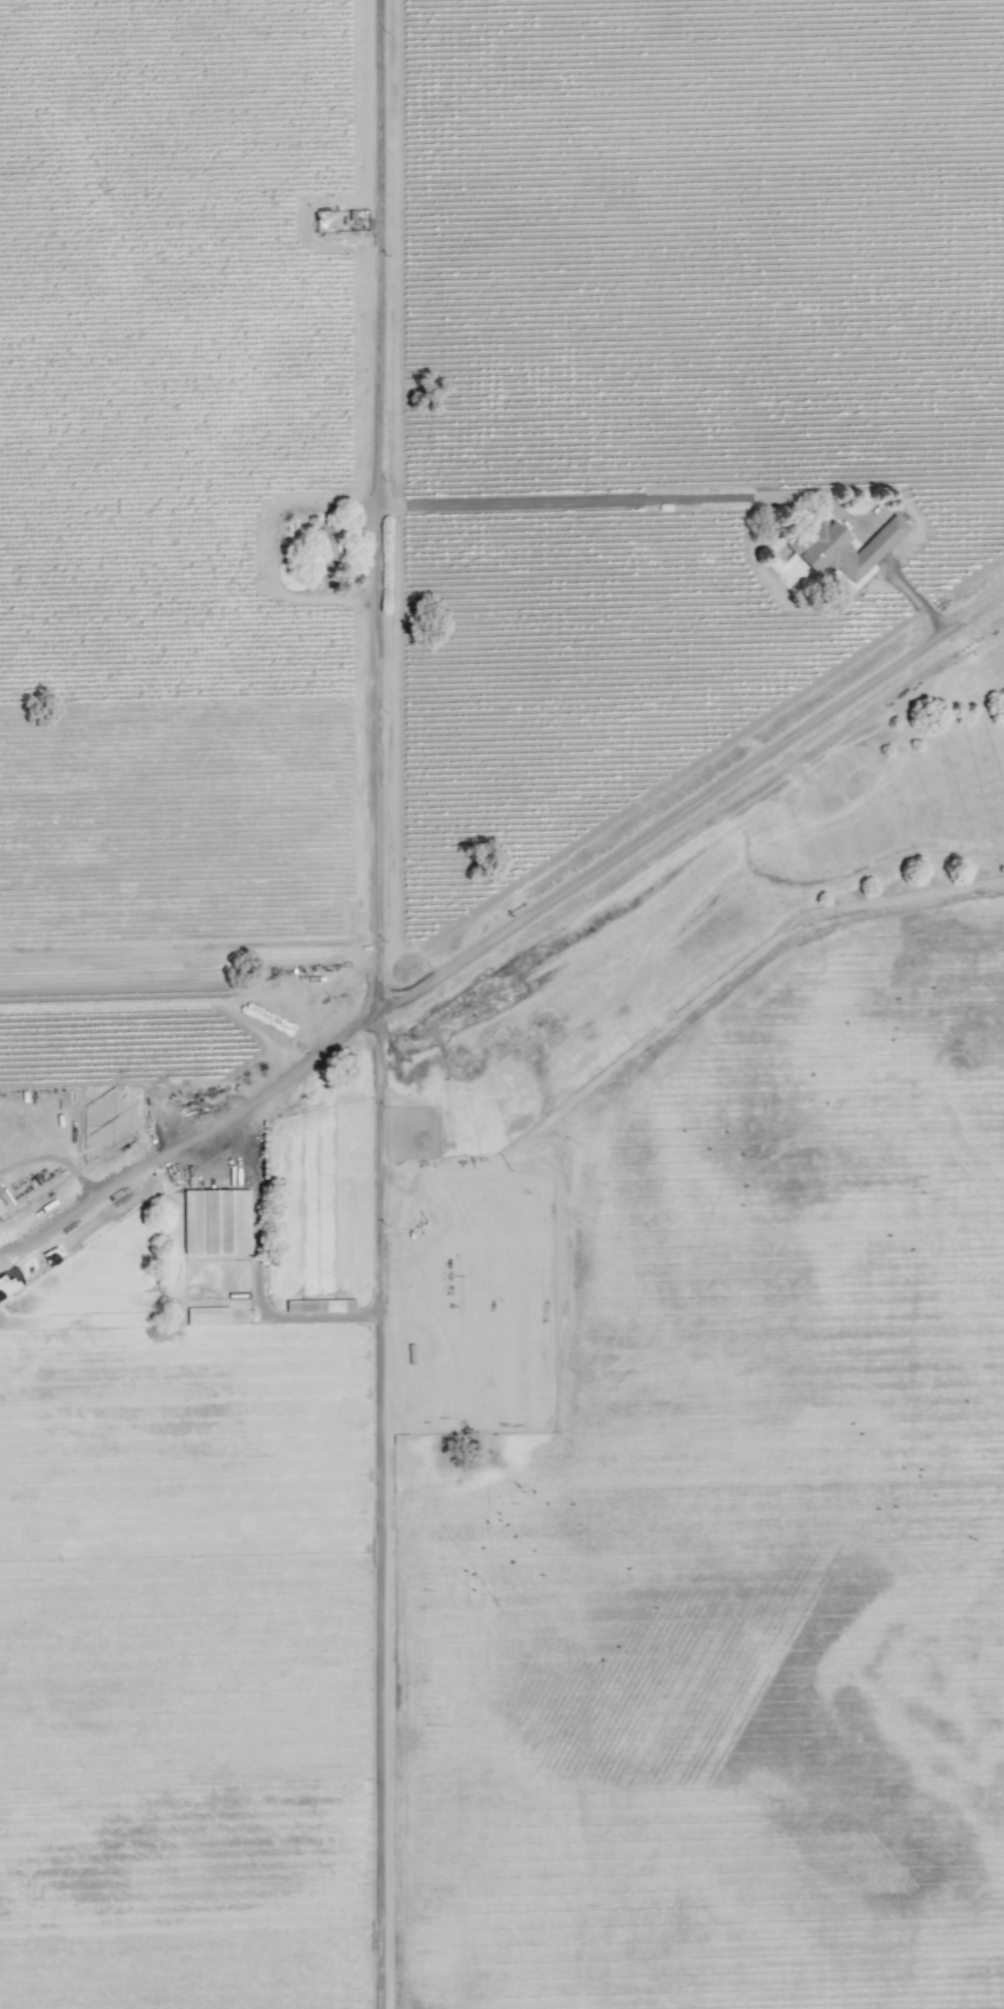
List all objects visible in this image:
road: (606, 497)
road: (379, 506)
road: (916, 599)
road: (504, 930)
building: (2, 1211)
building: (216, 1221)
building: (315, 1305)
building: (207, 1316)

